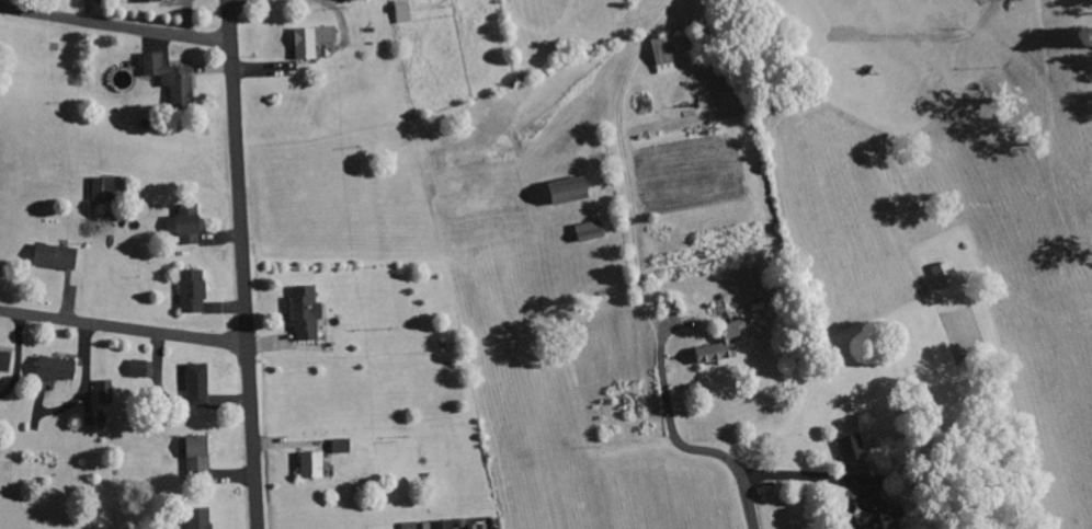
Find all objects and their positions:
building: (149, 1)
road: (116, 26)
building: (312, 39)
building: (664, 55)
building: (104, 188)
building: (185, 228)
building: (56, 256)
road: (244, 264)
building: (194, 291)
building: (306, 313)
road: (124, 329)
building: (724, 344)
building: (5, 360)
building: (57, 368)
building: (139, 368)
building: (198, 384)
building: (105, 392)
building: (342, 446)
road: (690, 448)
building: (854, 448)
building: (198, 455)
building: (312, 465)
building: (884, 517)
building: (202, 518)

